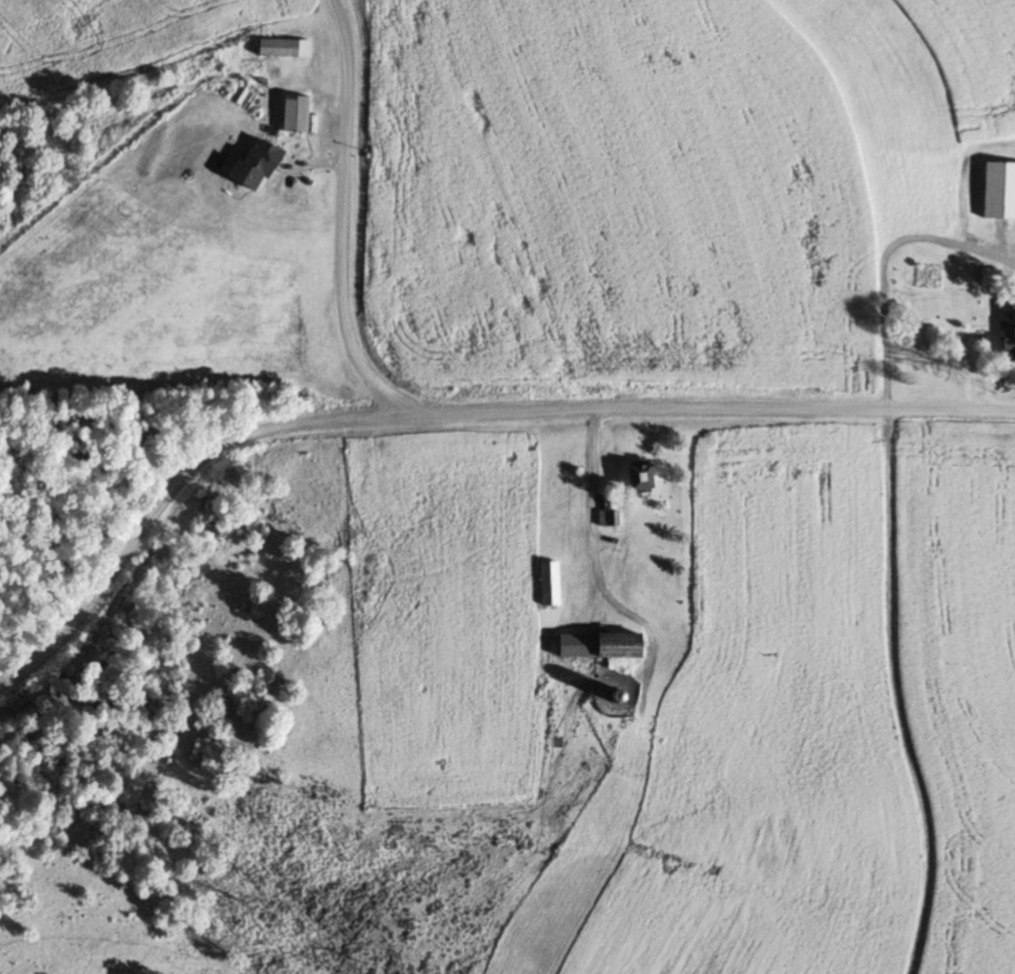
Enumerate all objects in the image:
building: (283, 48)
building: (295, 115)
crop: (654, 188)
building: (1000, 191)
road: (343, 214)
building: (1006, 330)
road: (450, 411)
building: (639, 476)
road: (886, 547)
road: (594, 558)
building: (551, 585)
building: (621, 644)
building: (580, 646)
silo: (615, 695)

